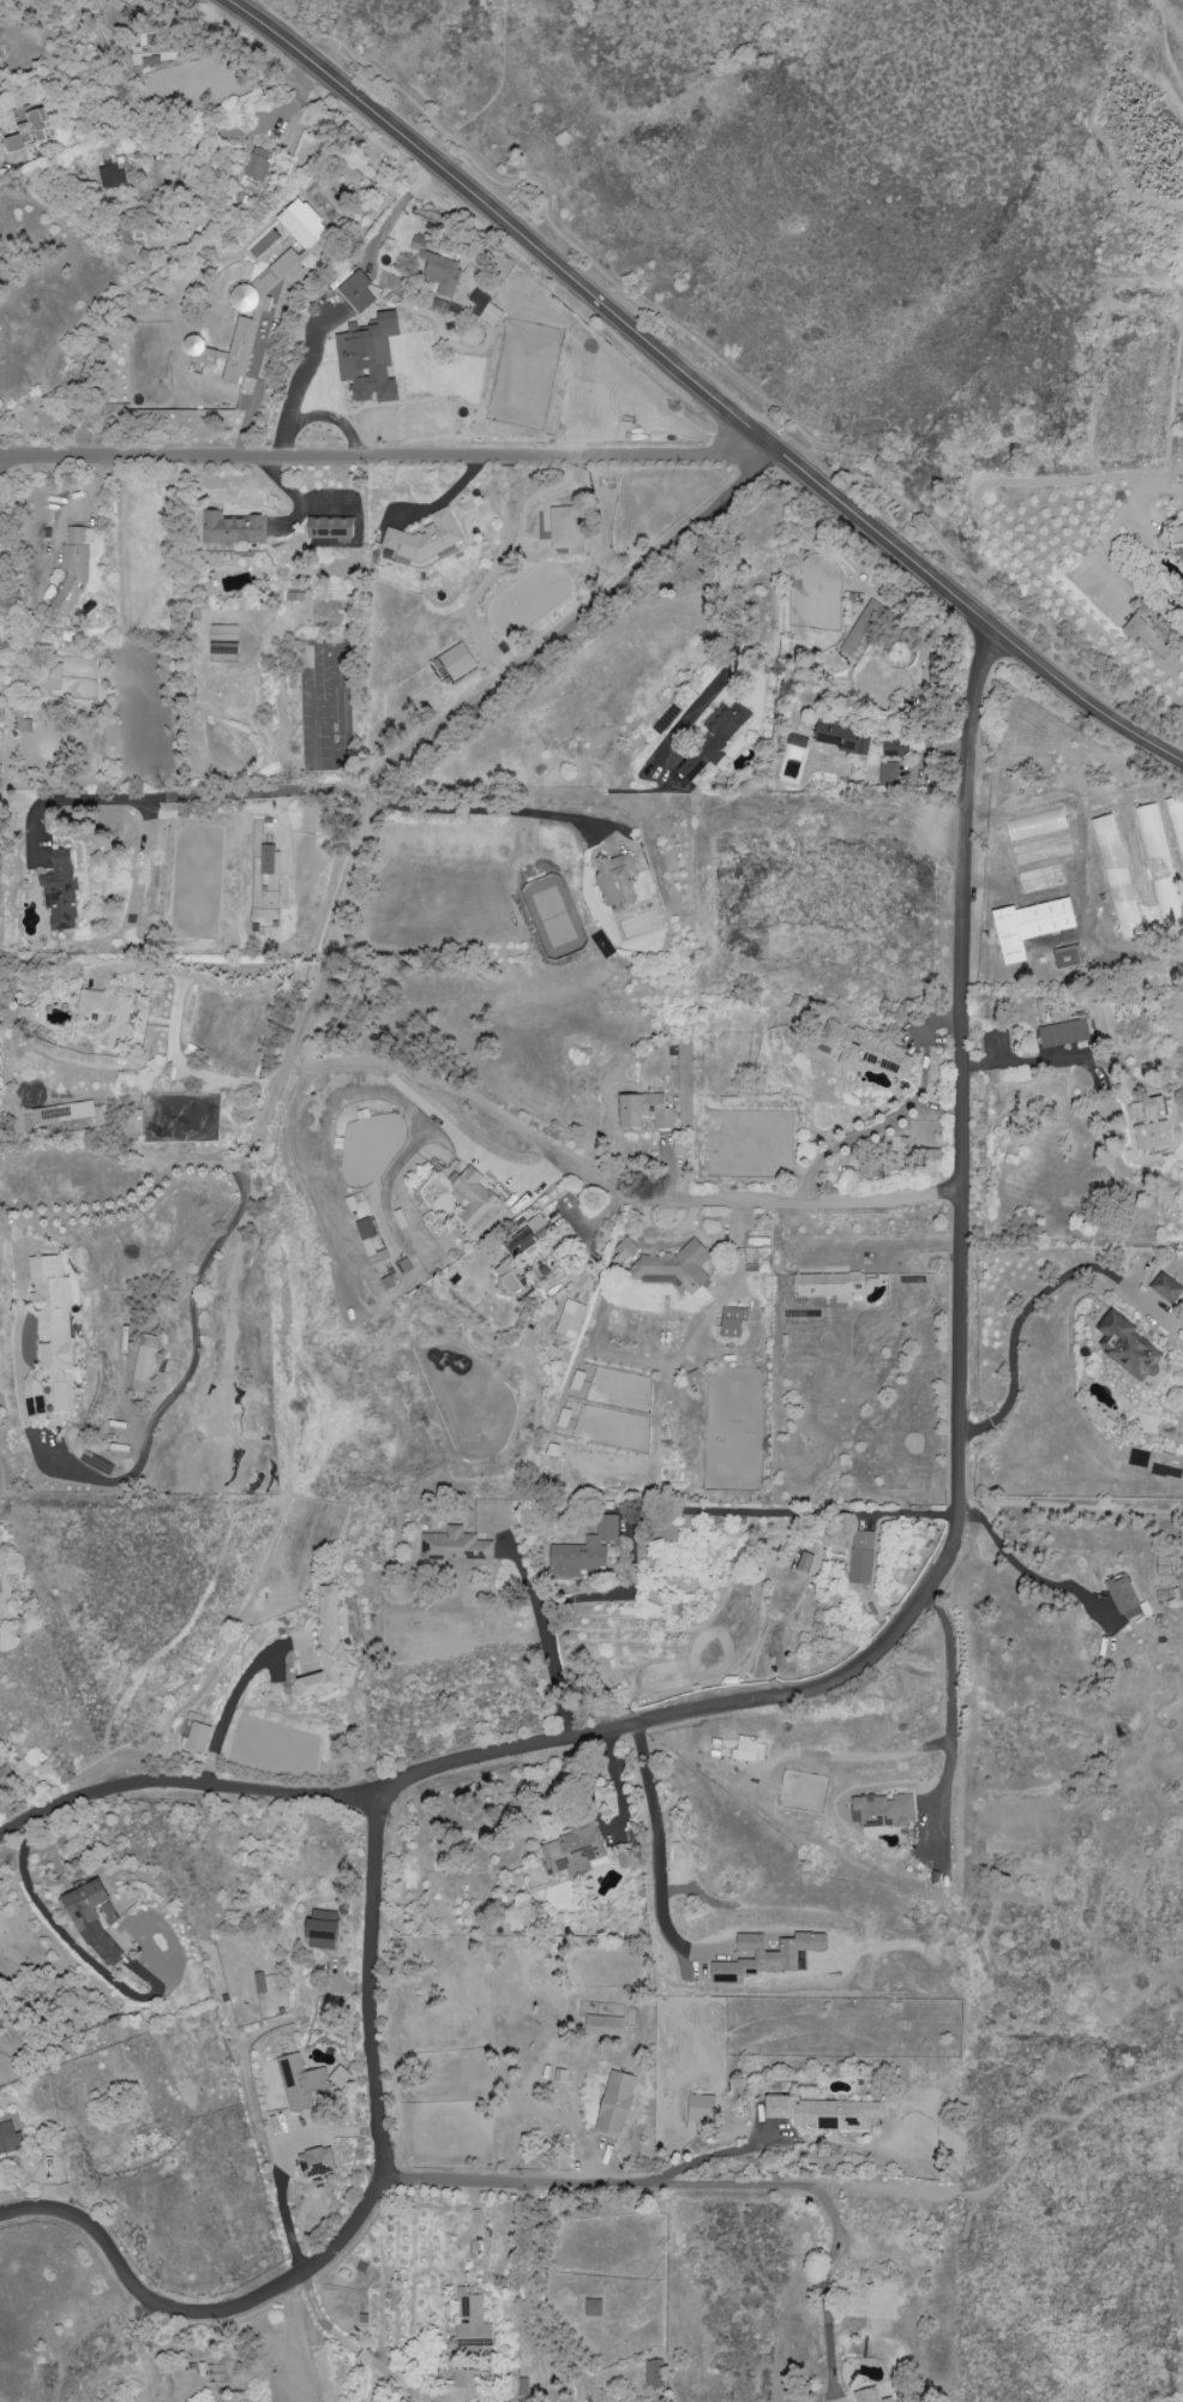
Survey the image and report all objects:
road: (240, 2)
building: (158, 43)
road: (496, 92)
building: (257, 163)
building: (109, 176)
road: (397, 210)
building: (304, 224)
building: (436, 266)
building: (356, 292)
building: (485, 309)
building: (252, 313)
building: (368, 359)
road: (737, 376)
road: (300, 383)
road: (702, 387)
road: (382, 455)
road: (6, 462)
building: (563, 527)
building: (232, 531)
building: (424, 538)
building: (72, 569)
building: (1133, 625)
building: (860, 627)
building: (222, 639)
road: (731, 653)
building: (457, 660)
building: (54, 676)
building: (714, 738)
building: (843, 738)
building: (797, 741)
building: (893, 747)
road: (191, 793)
road: (479, 813)
building: (1176, 817)
building: (1034, 823)
building: (268, 858)
building: (1159, 865)
road: (1081, 869)
building: (1116, 877)
building: (615, 879)
building: (60, 892)
building: (1028, 926)
road: (206, 980)
road: (306, 1013)
building: (104, 1016)
building: (1063, 1032)
building: (865, 1049)
road: (1029, 1062)
building: (643, 1109)
building: (62, 1113)
road: (901, 1113)
building: (1149, 1122)
road: (460, 1140)
building: (924, 1154)
road: (304, 1184)
building: (472, 1196)
road: (101, 1206)
building: (368, 1241)
building: (623, 1250)
building: (509, 1264)
building: (672, 1268)
road: (957, 1282)
building: (827, 1284)
building: (1166, 1288)
road: (1026, 1308)
road: (192, 1313)
building: (570, 1318)
building: (732, 1322)
building: (48, 1328)
building: (1127, 1346)
building: (144, 1364)
building: (692, 1376)
building: (577, 1379)
road: (975, 1427)
road: (800, 1511)
building: (455, 1547)
building: (584, 1551)
building: (861, 1557)
building: (804, 1562)
road: (1016, 1565)
road: (6, 1583)
building: (1123, 1597)
road: (546, 1640)
building: (330, 1648)
road: (949, 1693)
road: (233, 1697)
building: (196, 1736)
building: (746, 1747)
road: (205, 1772)
building: (6, 1777)
road: (310, 1799)
building: (882, 1809)
road: (23, 1832)
building: (572, 1850)
road: (656, 1855)
building: (92, 1922)
building: (322, 1929)
road: (68, 1943)
building: (259, 1982)
building: (603, 2025)
building: (340, 2075)
building: (301, 2083)
building: (615, 2102)
building: (701, 2108)
building: (823, 2112)
road: (1037, 2113)
building: (8, 2137)
building: (316, 2161)
road: (284, 2163)
road: (655, 2185)
road: (360, 2220)
road: (824, 2293)
road: (533, 2298)
building: (593, 2307)
building: (470, 2319)
road: (296, 2344)
road: (361, 2354)
building: (651, 2372)
building: (463, 2378)
building: (869, 2396)

